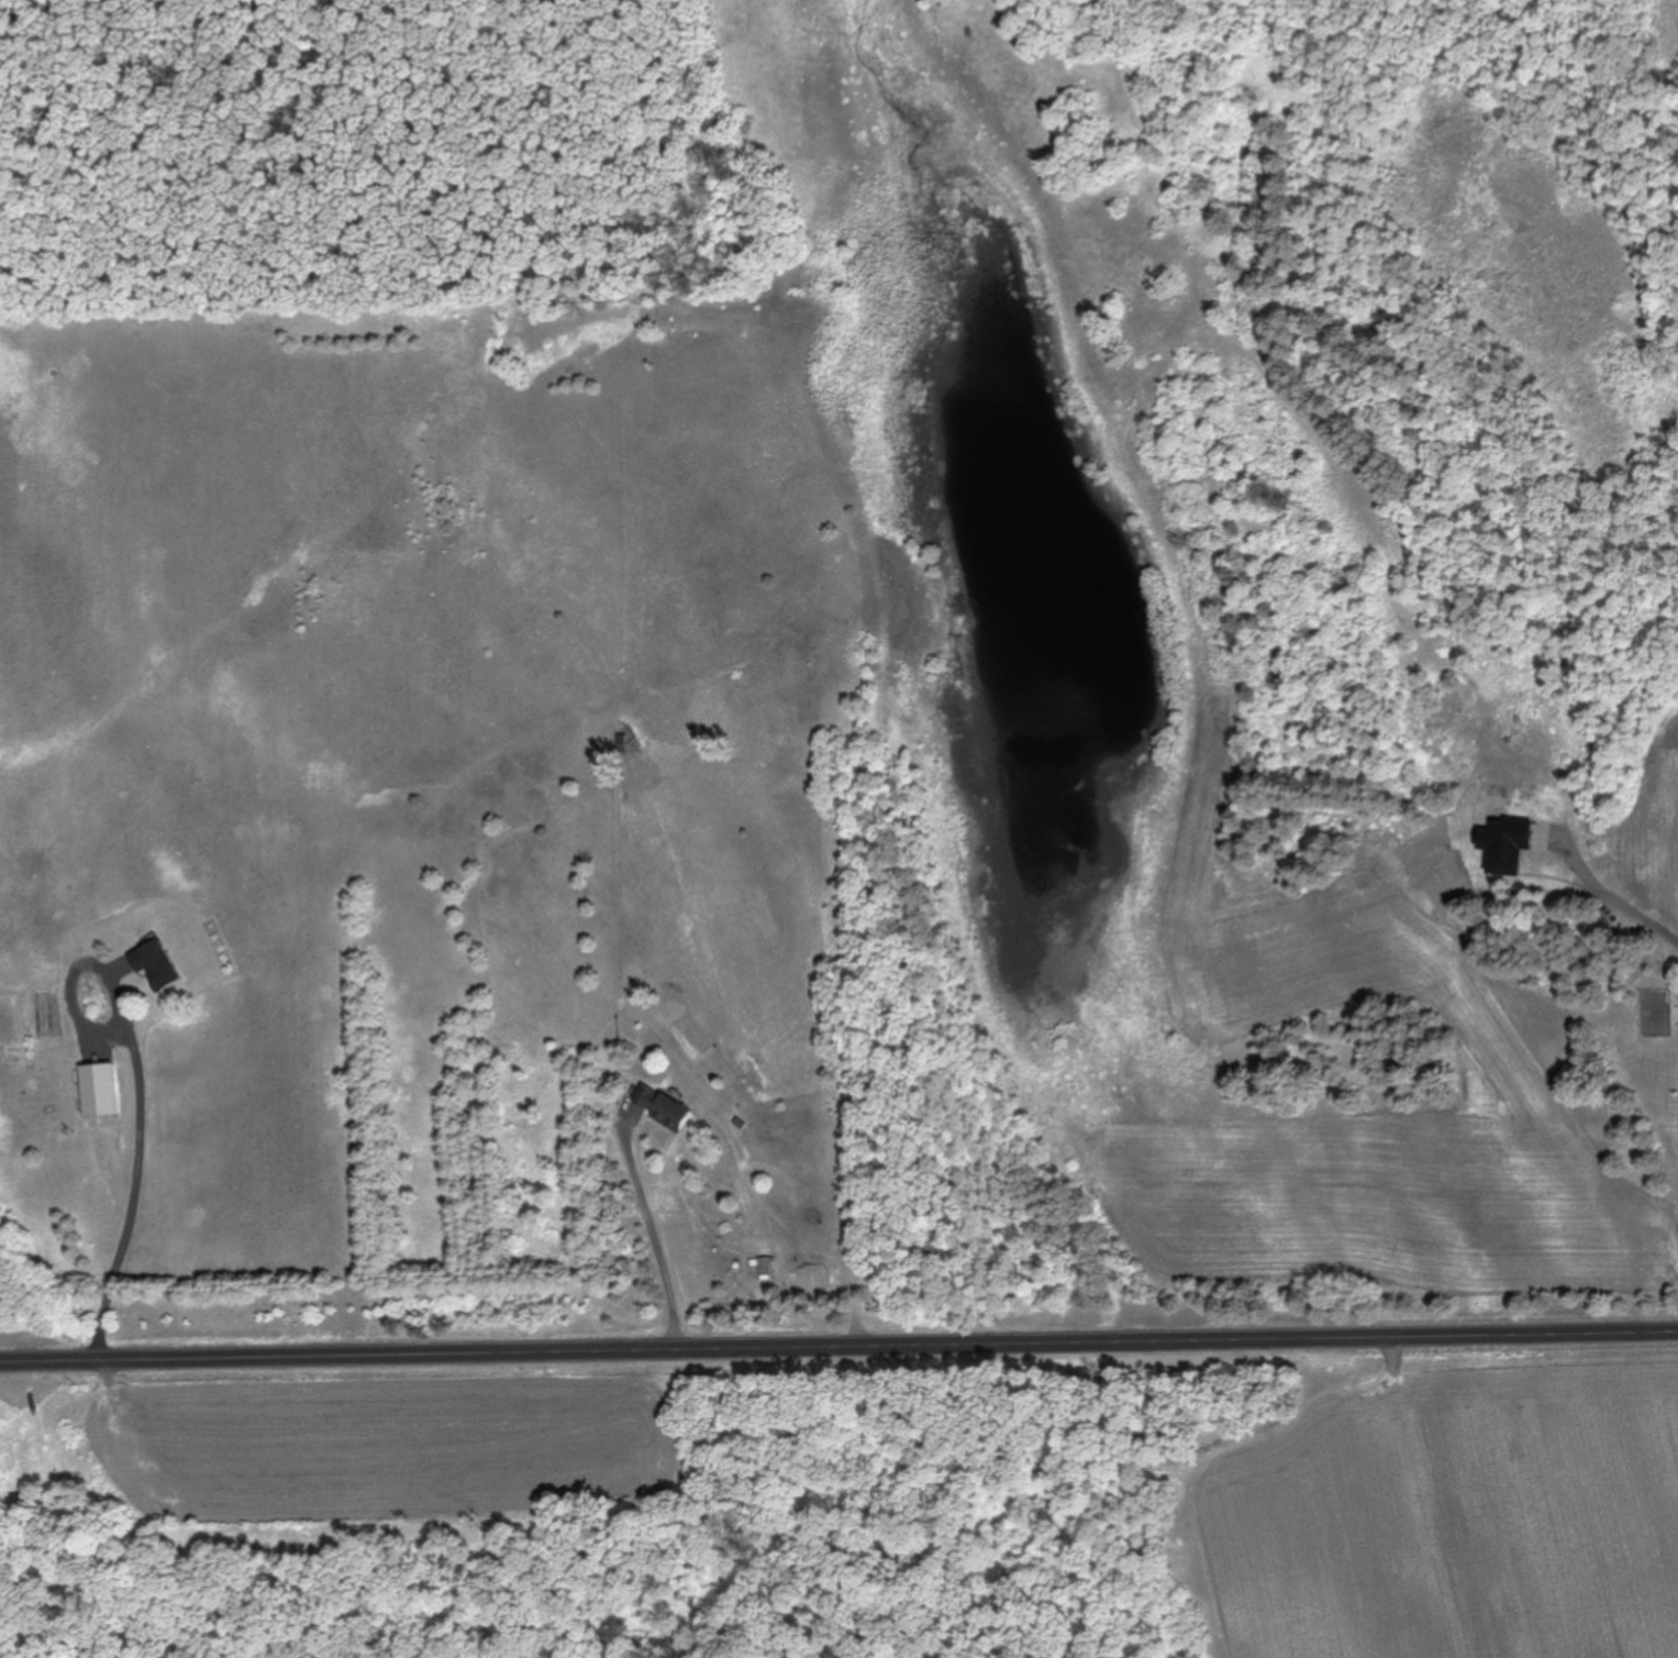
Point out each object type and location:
building: (619, 745)
building: (154, 965)
building: (99, 1090)
building: (660, 1107)
building: (764, 1270)
road: (838, 1347)

